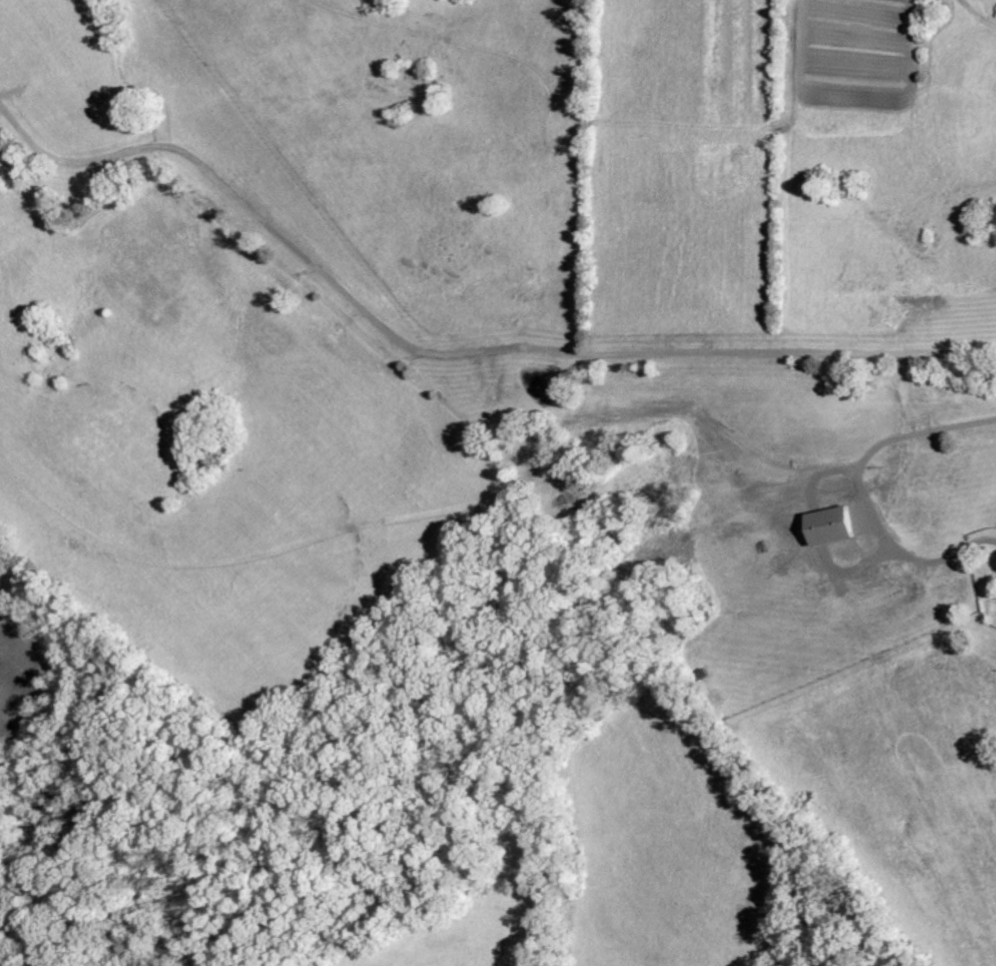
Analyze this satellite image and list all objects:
road: (446, 352)
road: (865, 490)
building: (832, 525)

